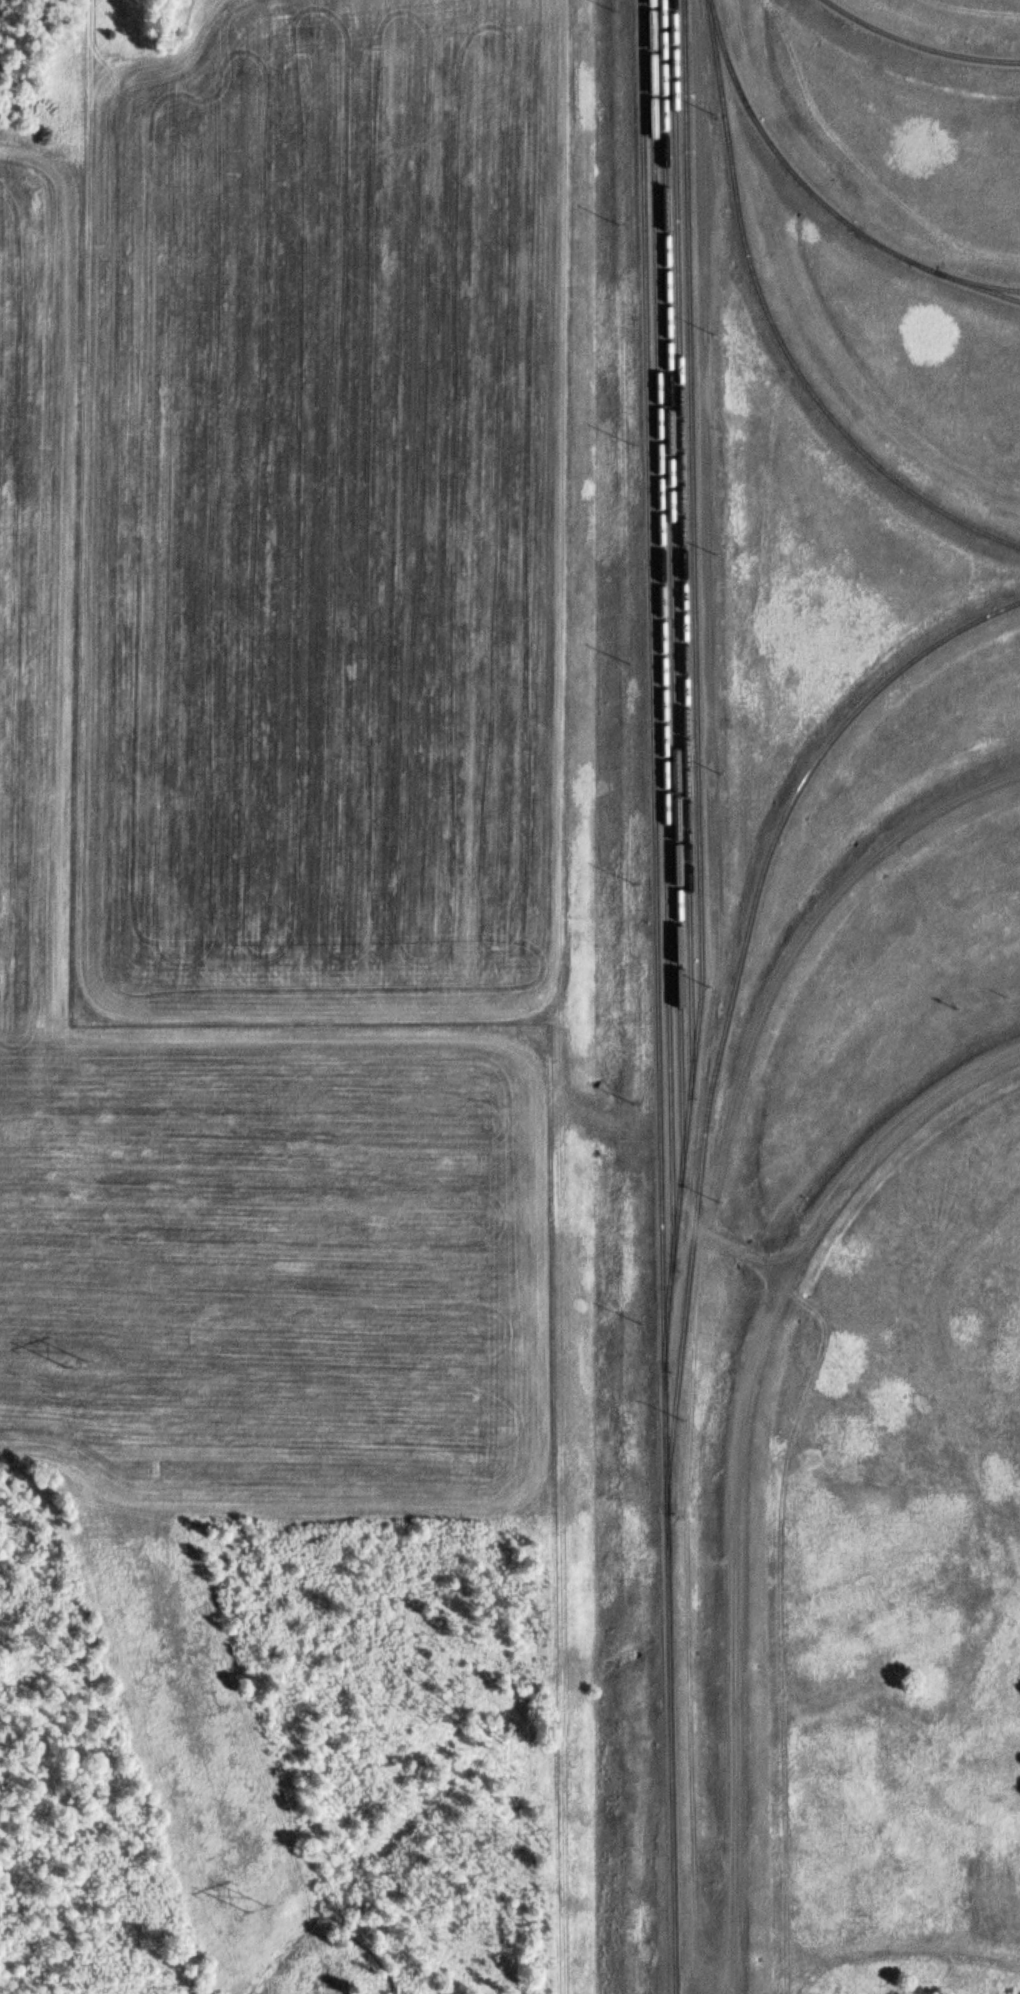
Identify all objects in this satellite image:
railway: (918, 44)
railway: (817, 196)
railway: (979, 288)
railway: (774, 328)
railway: (681, 540)
railway: (671, 578)
railway: (662, 622)
railway: (696, 666)
railway: (733, 986)
railway: (657, 997)
power tower: (74, 1365)
road: (737, 1454)
power tower: (257, 1911)

